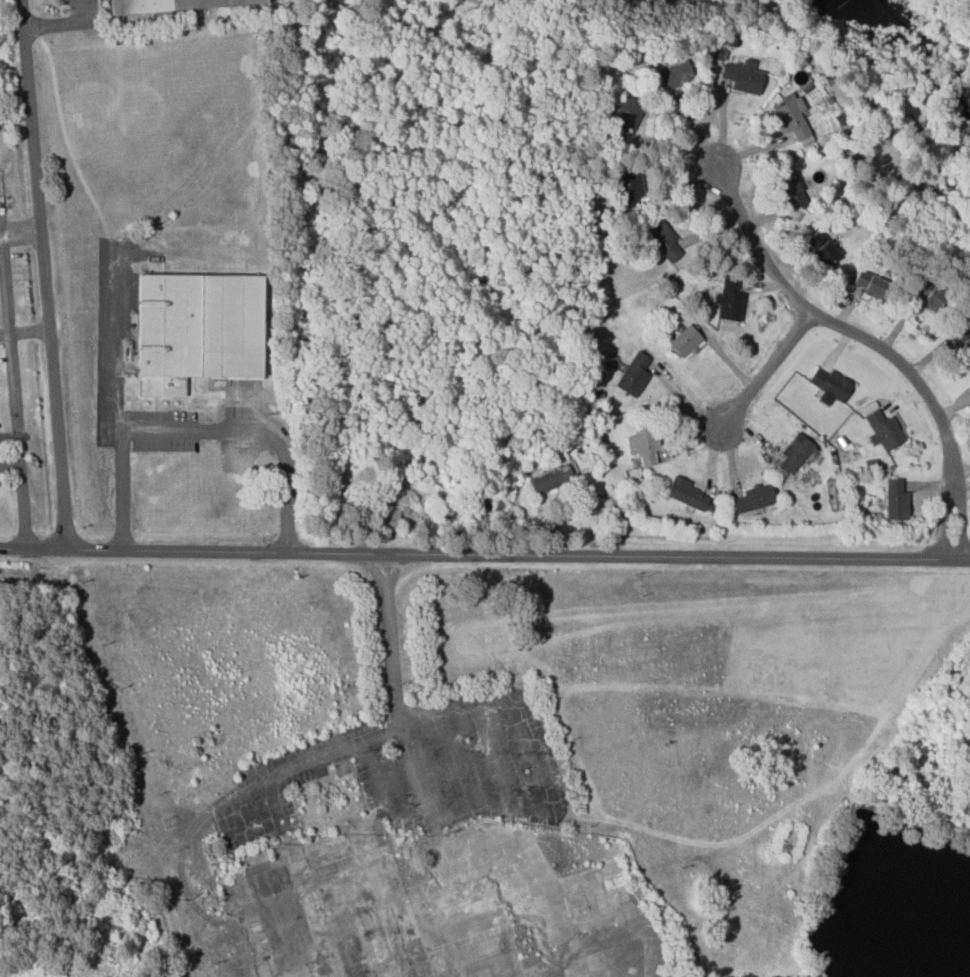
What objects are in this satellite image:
building: (165, 5)
road: (78, 11)
road: (52, 24)
building: (672, 76)
building: (742, 78)
road: (863, 102)
building: (624, 119)
building: (793, 120)
building: (630, 186)
building: (788, 193)
building: (664, 241)
building: (820, 249)
road: (47, 274)
building: (870, 283)
building: (928, 298)
building: (730, 300)
road: (5, 308)
building: (198, 328)
road: (30, 333)
road: (4, 335)
building: (684, 340)
road: (871, 341)
building: (960, 344)
road: (764, 373)
building: (633, 374)
building: (829, 383)
road: (199, 428)
building: (883, 430)
building: (641, 445)
building: (795, 452)
building: (550, 478)
building: (690, 495)
road: (22, 496)
building: (752, 498)
building: (896, 500)
building: (389, 517)
road: (484, 554)
road: (395, 688)
road: (212, 807)
road: (541, 889)

